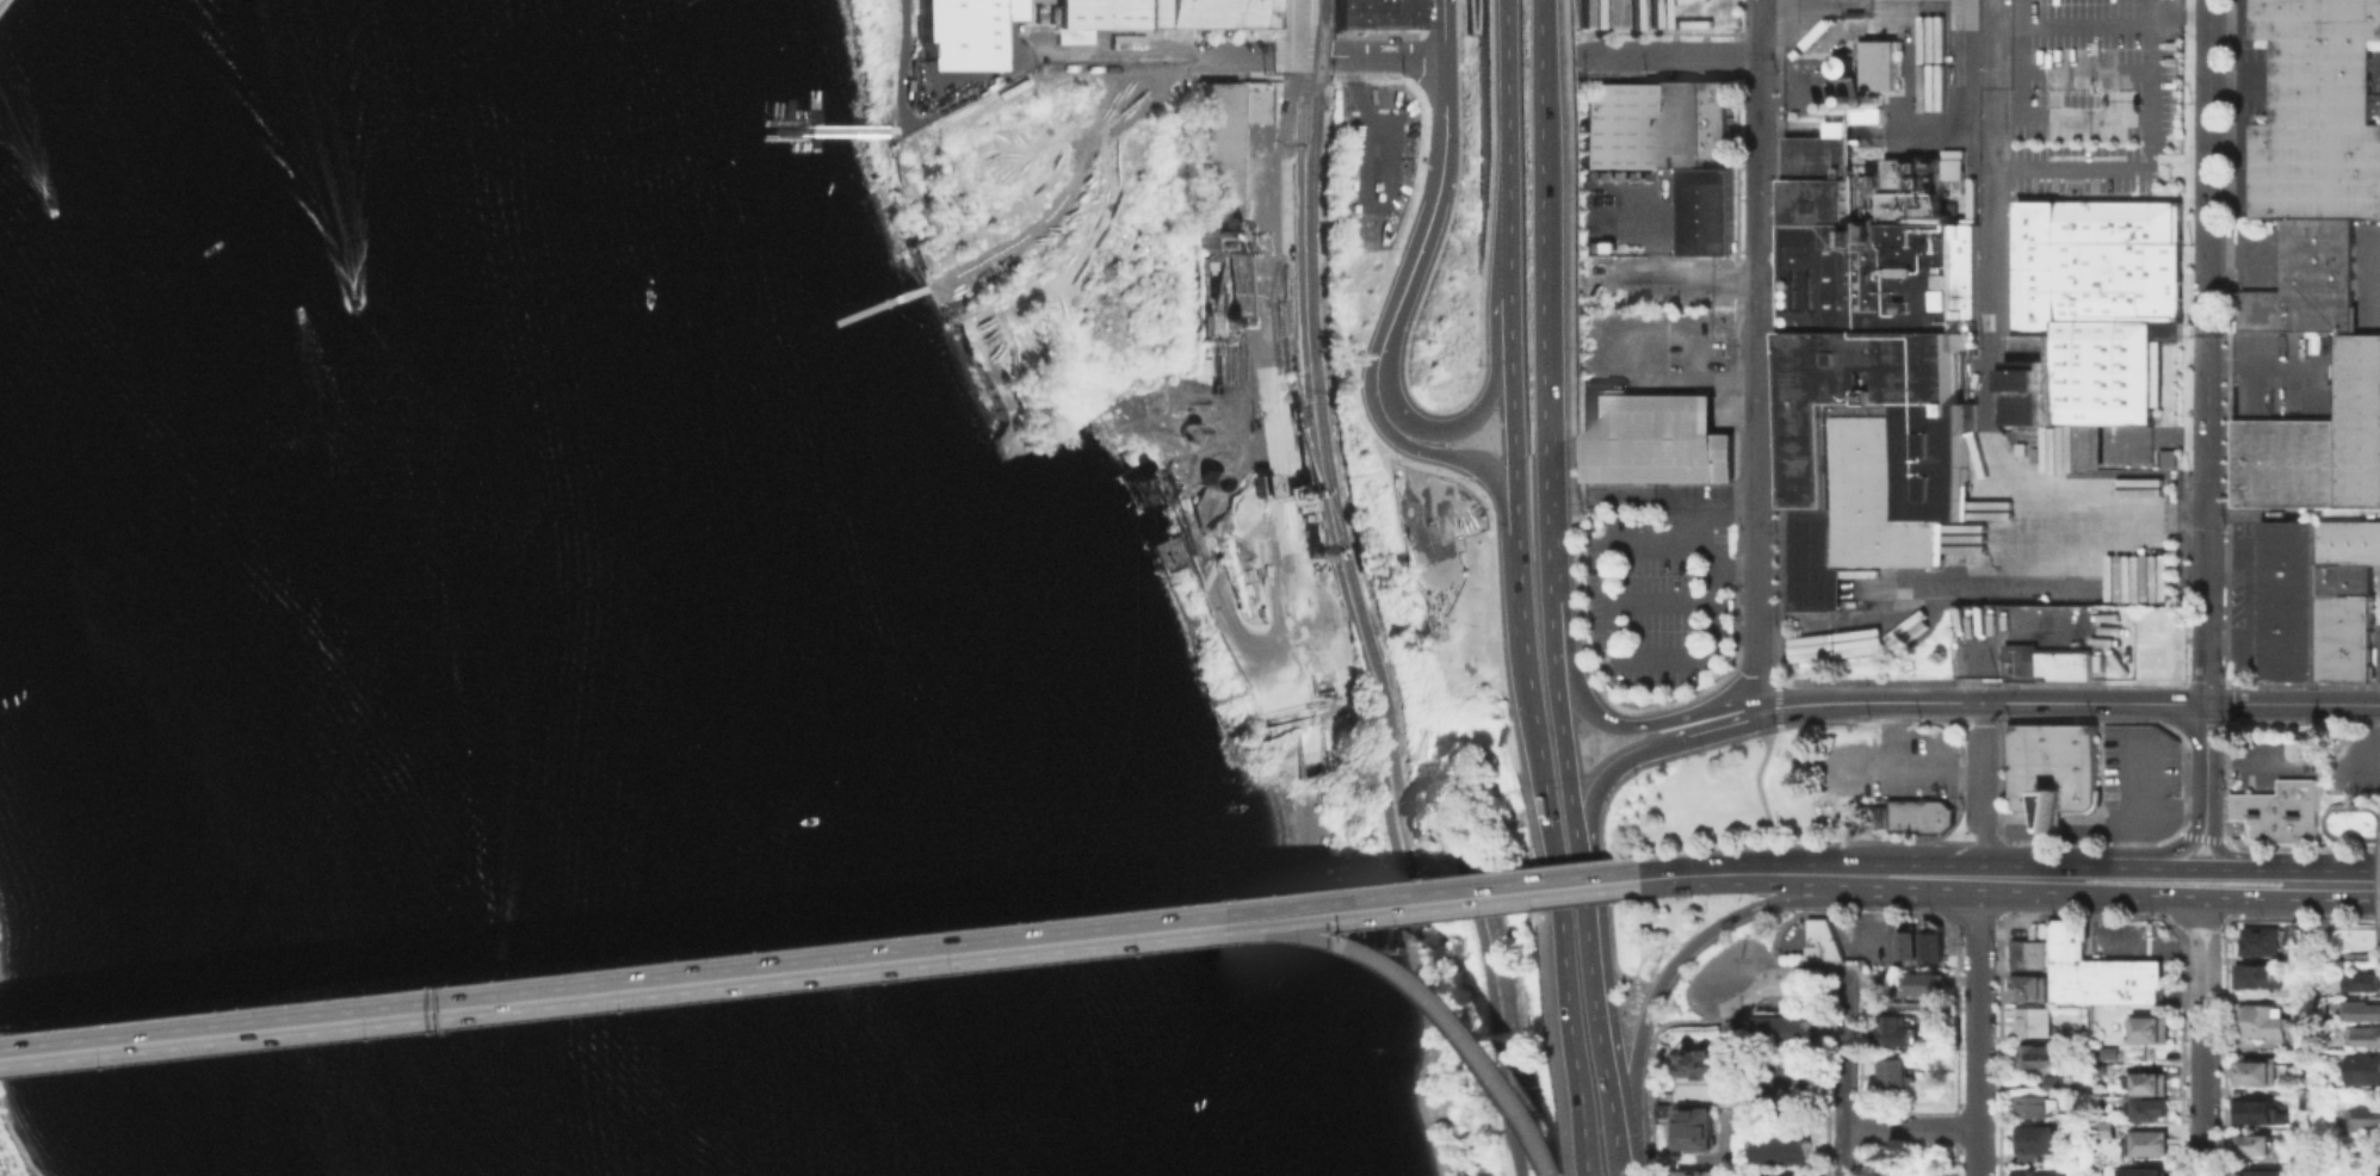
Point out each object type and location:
road: (1922, 4)
building: (1098, 12)
building: (1206, 12)
building: (1344, 16)
building: (1368, 16)
building: (1389, 16)
building: (1409, 16)
road: (1570, 24)
road: (1445, 25)
road: (1758, 27)
road: (1581, 29)
road: (1476, 30)
building: (962, 32)
road: (1674, 32)
building: (1070, 35)
road: (1393, 35)
road: (1451, 36)
road: (1292, 42)
road: (1244, 52)
road: (1370, 52)
road: (1670, 56)
road: (2149, 56)
road: (898, 62)
road: (1198, 62)
building: (1886, 63)
building: (1848, 64)
power tower: (2230, 69)
road: (984, 81)
road: (1758, 92)
building: (1861, 99)
building: (1877, 100)
building: (1846, 106)
building: (1834, 107)
building: (2317, 111)
building: (1822, 114)
building: (1723, 119)
railway: (1984, 119)
building: (1679, 124)
building: (1619, 125)
pier: (816, 126)
road: (1794, 128)
road: (1843, 128)
road: (1506, 129)
road: (1486, 137)
road: (1995, 155)
building: (1216, 163)
road: (2140, 165)
road: (1032, 184)
road: (1068, 191)
road: (1543, 197)
building: (1710, 210)
railway: (2005, 211)
chimney: (1946, 216)
road: (1096, 225)
road: (1414, 249)
road: (1566, 255)
road: (1502, 267)
road: (1679, 277)
building: (2308, 279)
road: (1424, 291)
road: (883, 303)
building: (2098, 309)
power tower: (2227, 330)
road: (2207, 351)
building: (1877, 361)
road: (1491, 383)
road: (1513, 414)
road: (2226, 417)
road: (1758, 420)
building: (2361, 420)
road: (1984, 421)
building: (1658, 439)
building: (2085, 445)
road: (1547, 454)
building: (2289, 463)
road: (1284, 475)
road: (1491, 476)
building: (1259, 483)
power tower: (2225, 526)
road: (1704, 534)
road: (1550, 537)
road: (1572, 537)
building: (2348, 556)
river: (490, 567)
road: (1344, 596)
railway: (1358, 599)
building: (2291, 599)
road: (1519, 602)
road: (2034, 630)
building: (2345, 636)
building: (2048, 662)
road: (1523, 669)
road: (1982, 680)
power tower: (2002, 681)
power tower: (2226, 682)
road: (1776, 695)
road: (1982, 702)
road: (2293, 704)
road: (1622, 708)
road: (1595, 718)
road: (2240, 720)
road: (1558, 723)
road: (1725, 732)
road: (1893, 734)
road: (1984, 734)
road: (1679, 756)
road: (2206, 757)
road: (1626, 760)
road: (2249, 760)
road: (1909, 765)
building: (2051, 767)
road: (2138, 770)
road: (1756, 785)
road: (1535, 794)
road: (1984, 797)
road: (2333, 806)
road: (2379, 810)
building: (2279, 811)
building: (1909, 815)
road: (2132, 821)
road: (2015, 830)
road: (2051, 830)
road: (2361, 836)
road: (2201, 837)
road: (1803, 840)
road: (1991, 842)
road: (2096, 843)
road: (2301, 846)
road: (1993, 854)
road: (2146, 854)
road: (2240, 855)
road: (2187, 868)
road: (2376, 869)
road: (2337, 871)
road: (2376, 871)
road: (1747, 873)
road: (2056, 873)
road: (1897, 875)
road: (1958, 877)
road: (1992, 878)
road: (2023, 878)
road: (1420, 881)
road: (2208, 897)
road: (1423, 903)
road: (1841, 912)
road: (1968, 915)
road: (2083, 915)
road: (2194, 917)
road: (2300, 917)
road: (2360, 926)
road: (1609, 939)
building: (1935, 940)
building: (1825, 943)
building: (1910, 943)
building: (2265, 945)
road: (1689, 948)
road: (2379, 951)
building: (2033, 954)
road: (2335, 954)
road: (940, 957)
power tower: (1999, 957)
building: (2066, 959)
road: (1601, 961)
road: (602, 971)
road: (1763, 973)
building: (2257, 974)
road: (1782, 978)
building: (2150, 978)
building: (2092, 979)
building: (2121, 979)
building: (2363, 984)
building: (1927, 986)
building: (2029, 989)
road: (1428, 991)
building: (2364, 1014)
road: (1713, 1017)
road: (334, 1023)
building: (2035, 1023)
building: (2265, 1023)
road: (1978, 1026)
building: (1787, 1028)
road: (1596, 1030)
road: (1570, 1032)
building: (2151, 1032)
building: (1902, 1033)
road: (2203, 1036)
building: (2364, 1038)
building: (2310, 1040)
road: (2223, 1046)
building: (2112, 1054)
building: (2042, 1059)
building: (1707, 1062)
building: (2108, 1071)
building: (2366, 1071)
building: (2257, 1073)
road: (1850, 1079)
building: (1899, 1079)
road: (1789, 1082)
building: (2150, 1085)
building: (2058, 1087)
road: (1649, 1094)
building: (2033, 1107)
building: (2147, 1110)
building: (2261, 1114)
building: (2366, 1119)
building: (1696, 1127)
building: (2102, 1127)
road: (1915, 1128)
road: (1510, 1132)
building: (2041, 1139)
building: (2152, 1143)
building: (2258, 1145)
road: (1636, 1146)
building: (1789, 1147)
building: (1696, 1171)
building: (2038, 1171)
building: (2140, 1171)
building: (1797, 1174)
building: (2271, 1175)

